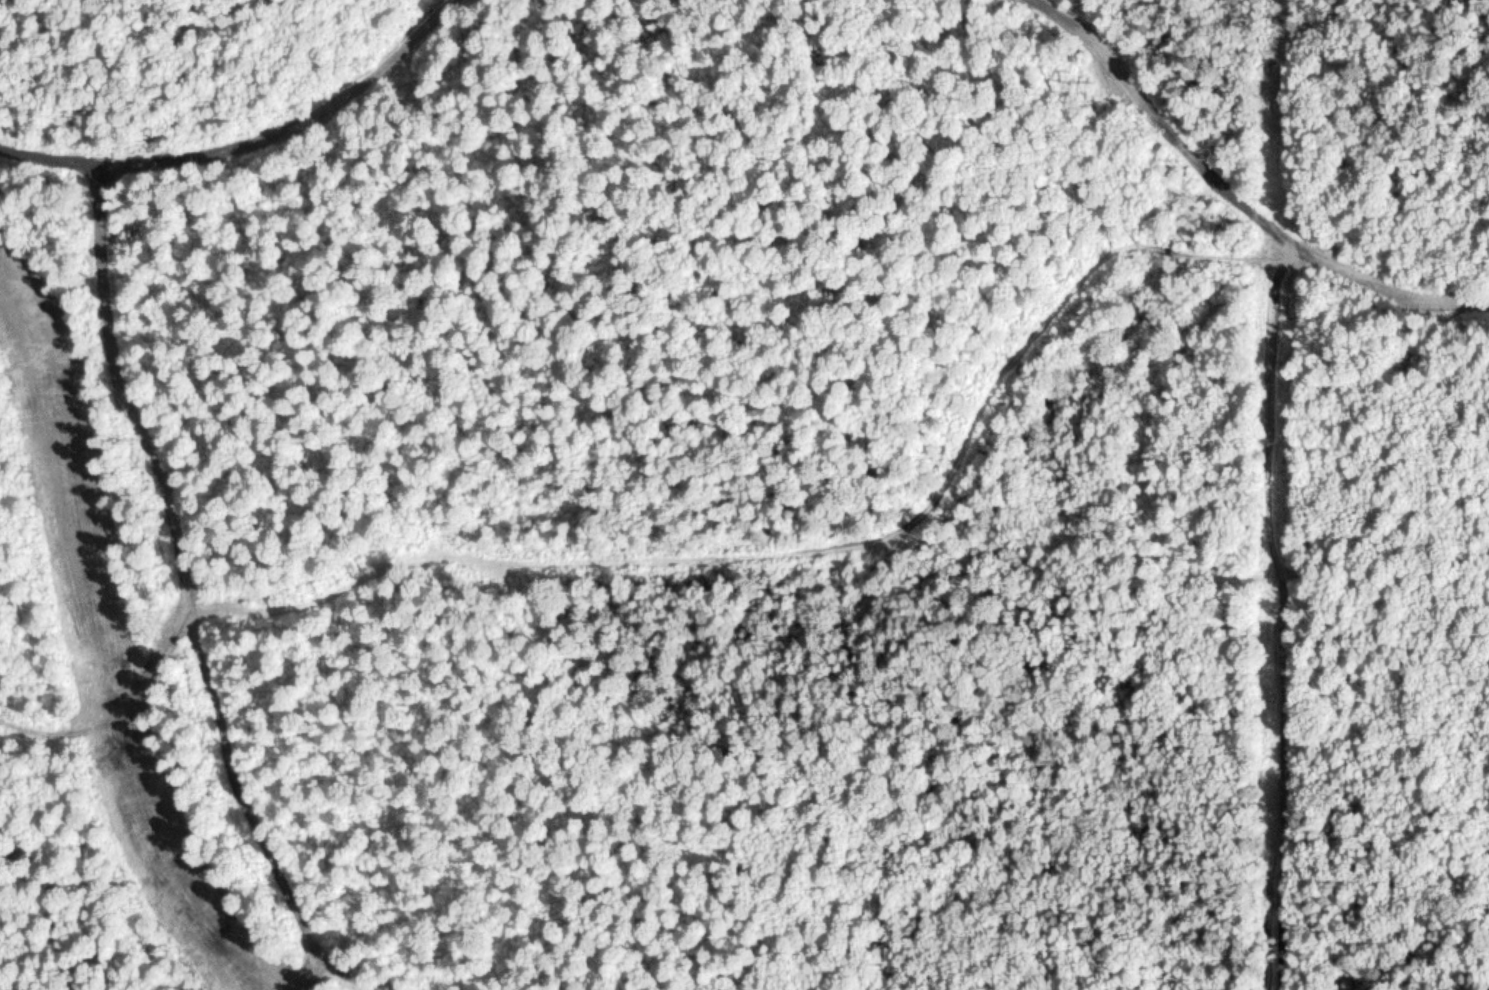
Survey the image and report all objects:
road: (257, 151)
road: (1227, 185)
road: (1278, 605)

